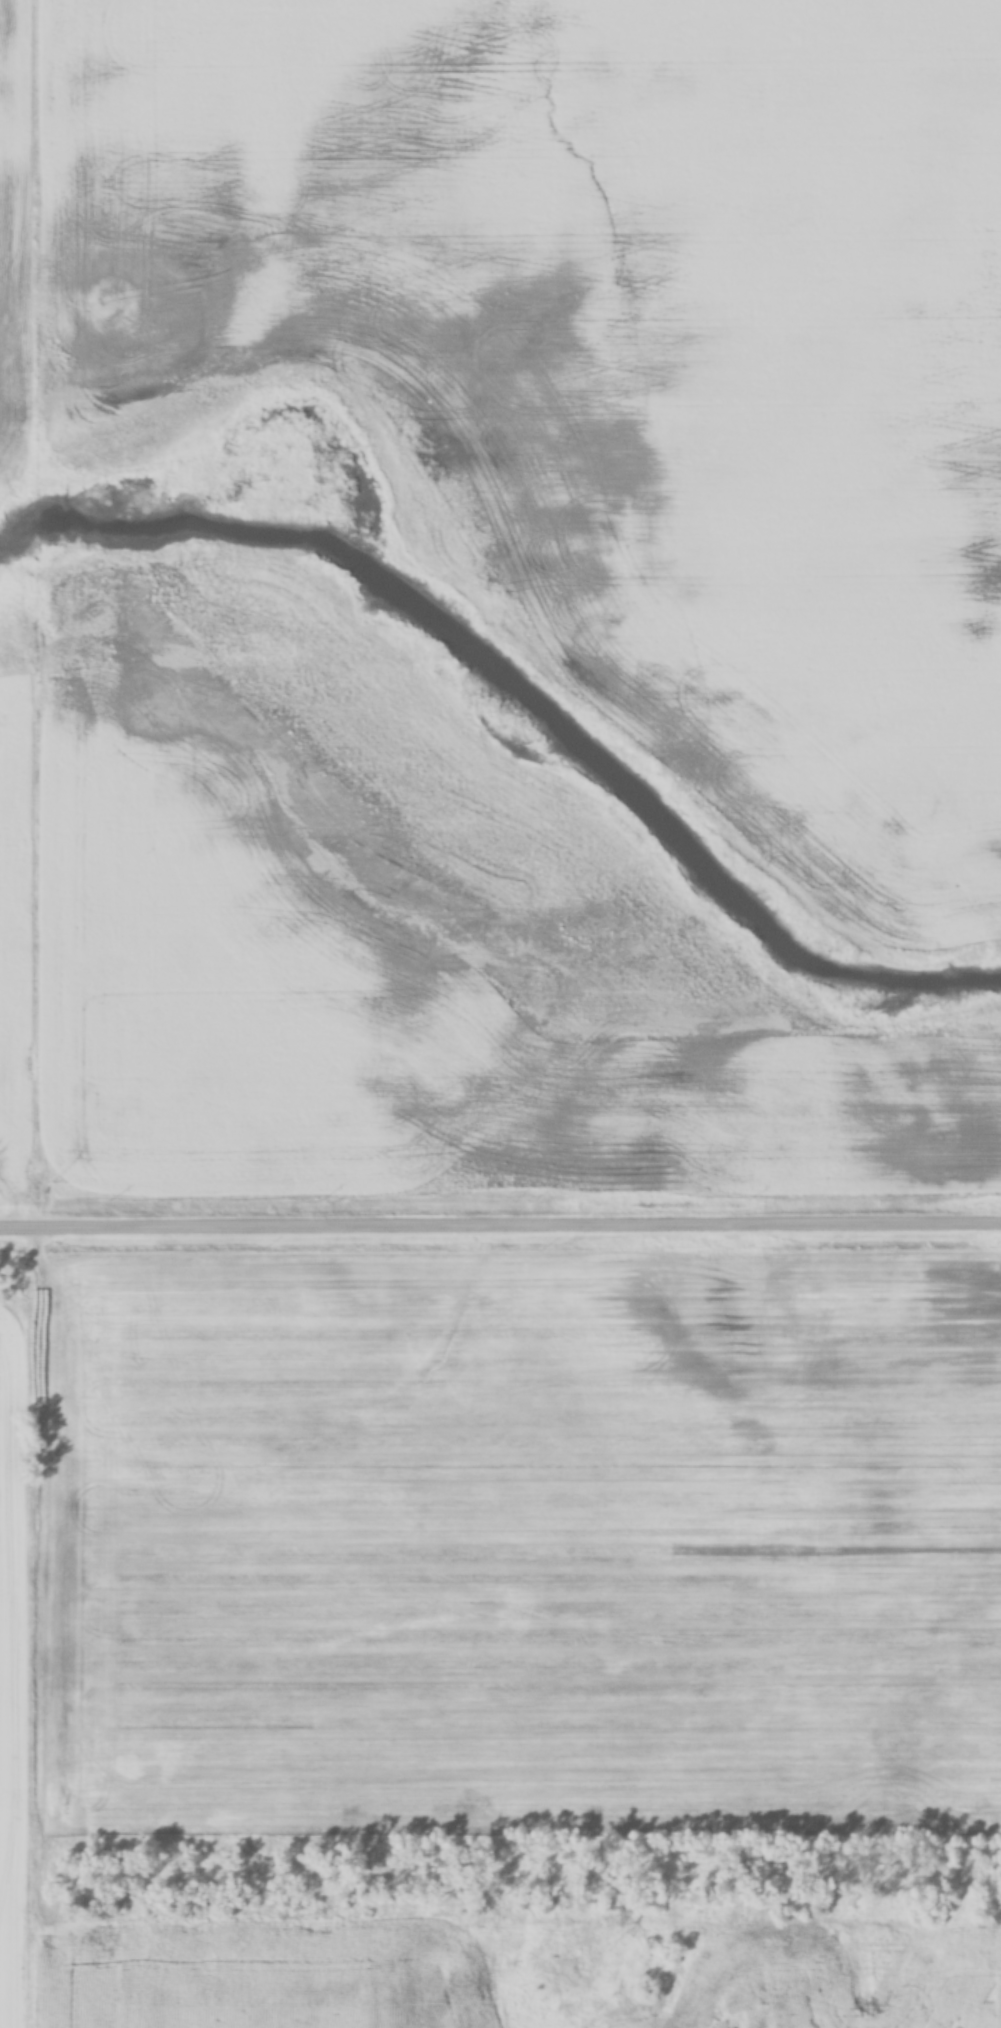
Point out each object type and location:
road: (500, 1226)

